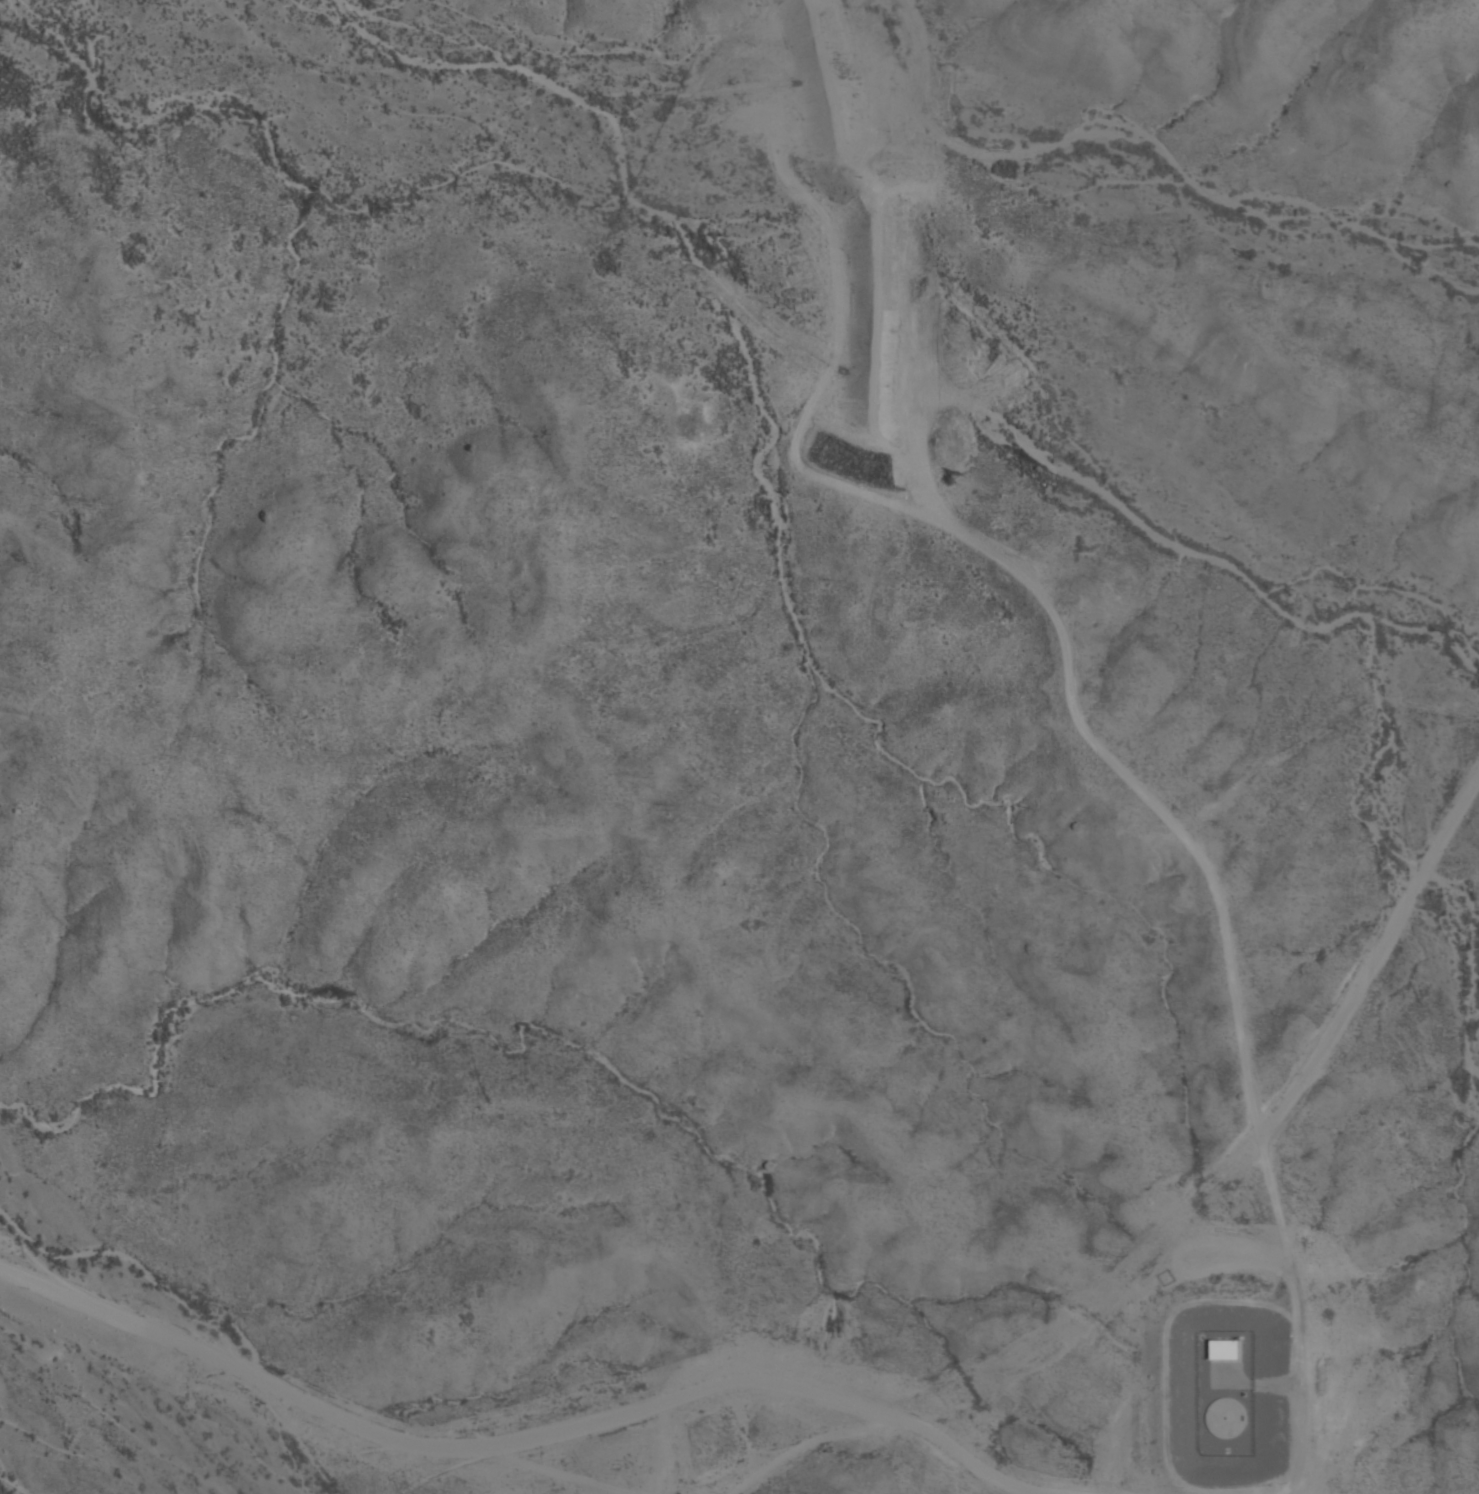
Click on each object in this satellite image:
building: (1223, 1351)
building: (1224, 1419)
road: (525, 1441)

